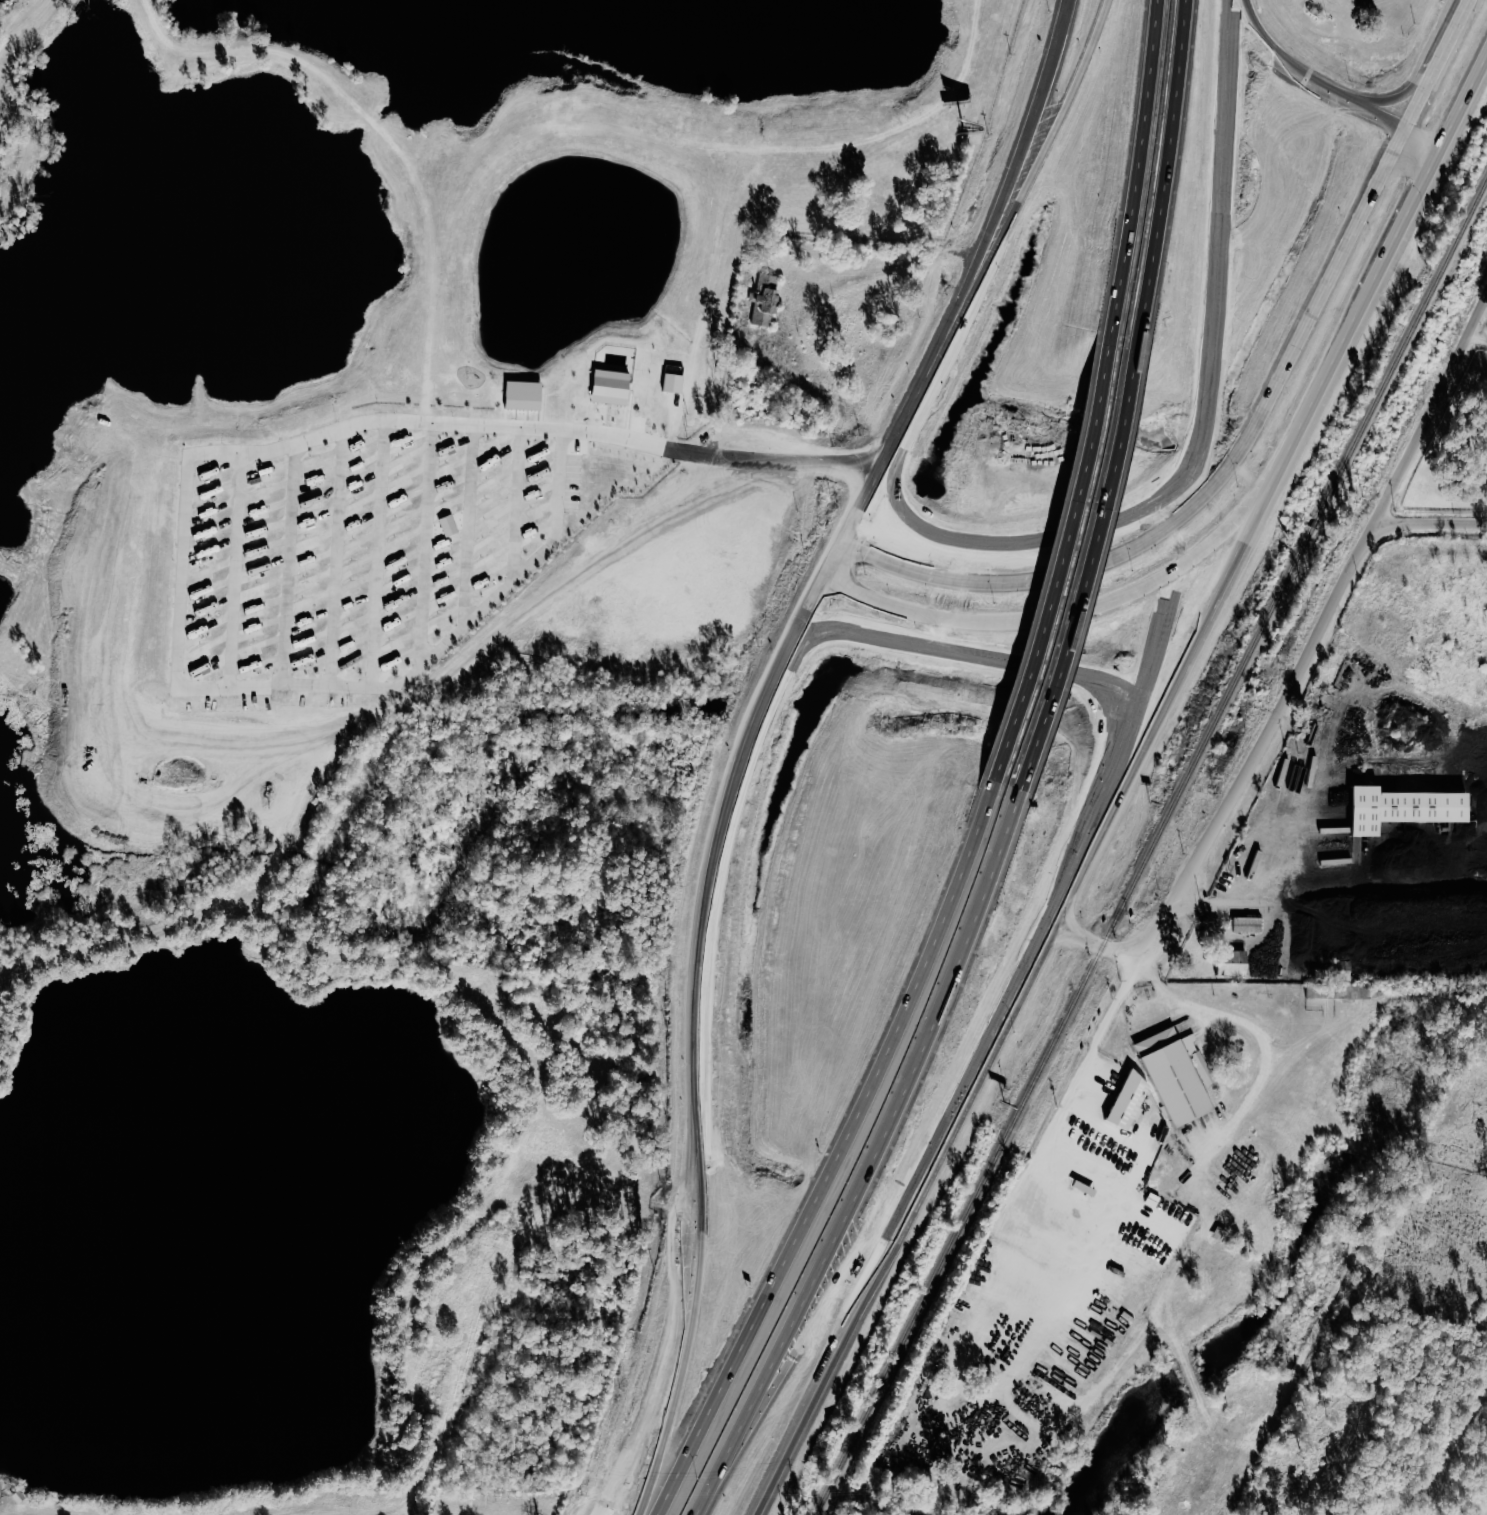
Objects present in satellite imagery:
road: (1416, 86)
road: (1329, 93)
road: (1028, 130)
road: (1140, 170)
road: (1165, 173)
road: (1046, 175)
road: (889, 278)
road: (1386, 286)
building: (767, 299)
road: (968, 300)
building: (675, 382)
building: (613, 386)
road: (1258, 429)
road: (900, 443)
road: (695, 456)
building: (451, 525)
road: (1432, 526)
road: (1069, 561)
road: (1095, 569)
road: (1067, 613)
road: (180, 645)
road: (969, 656)
road: (1302, 669)
road: (1166, 709)
building: (1398, 808)
road: (1091, 835)
railway: (1151, 847)
road: (718, 857)
building: (1250, 924)
building: (1235, 964)
building: (1342, 970)
road: (1192, 1005)
road: (1105, 1029)
building: (1171, 1076)
building: (1132, 1099)
road: (880, 1157)
road: (848, 1158)
road: (908, 1222)
road: (666, 1358)
road: (687, 1358)

